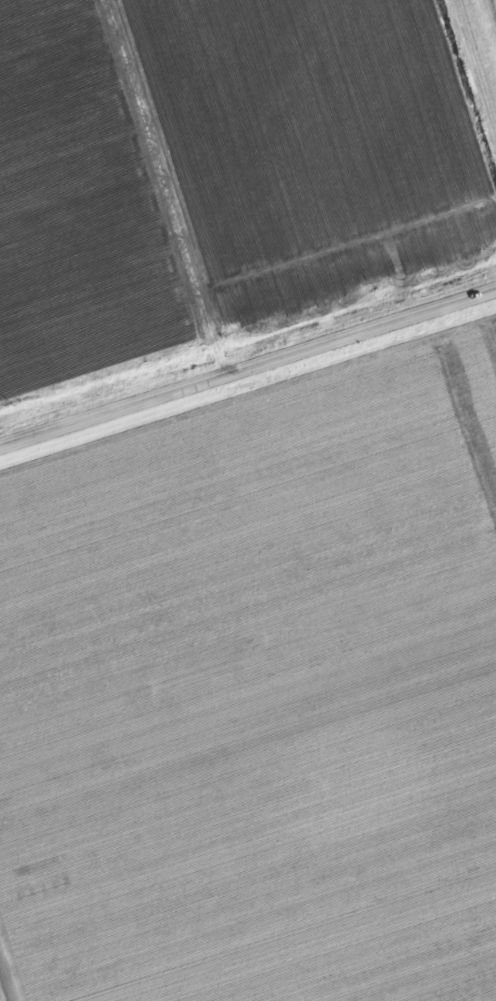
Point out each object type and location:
road: (469, 87)
road: (248, 372)

